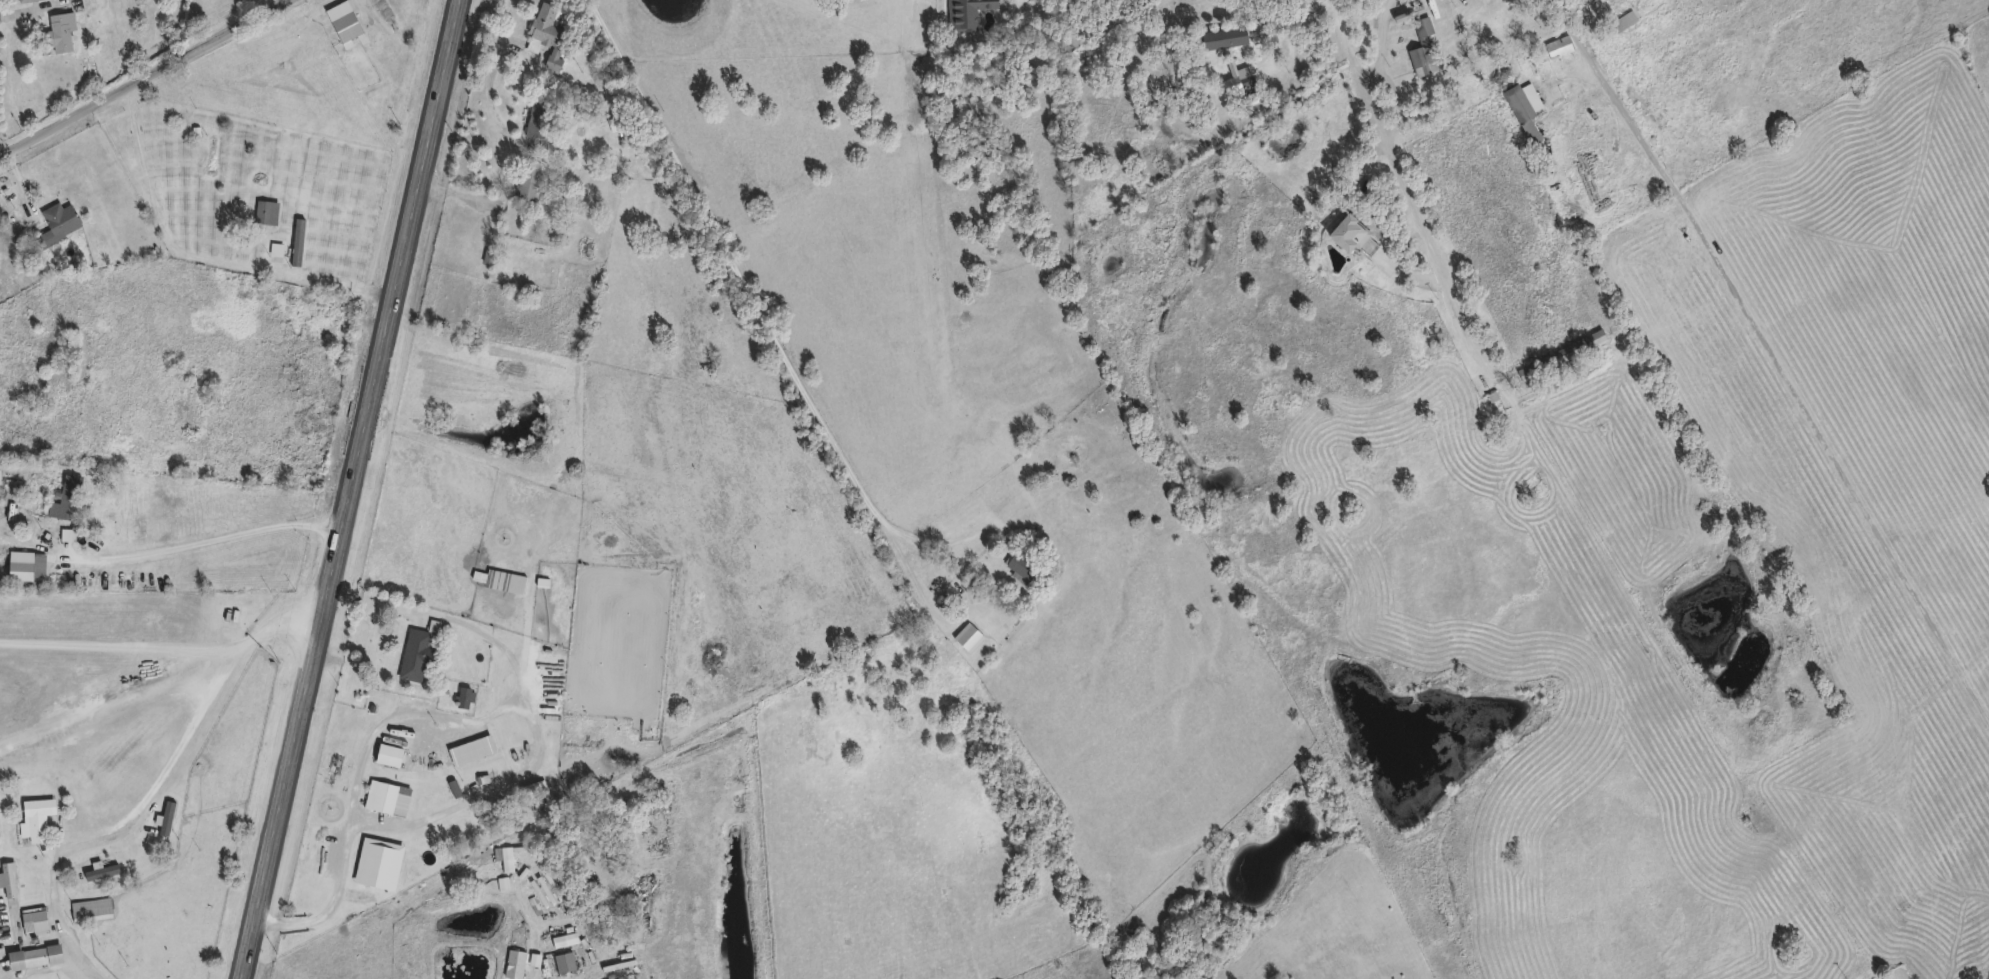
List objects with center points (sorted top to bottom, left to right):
building: (21, 0)
road: (287, 0)
building: (964, 13)
building: (1622, 19)
building: (341, 21)
building: (58, 31)
building: (545, 33)
building: (1221, 37)
road: (1384, 45)
building: (1556, 46)
building: (1419, 47)
road: (495, 65)
road: (145, 79)
building: (1526, 112)
building: (534, 119)
building: (210, 154)
building: (525, 180)
road: (1407, 192)
road: (156, 208)
building: (265, 212)
building: (56, 223)
building: (1345, 234)
building: (297, 241)
road: (758, 313)
building: (1560, 353)
building: (1049, 452)
road: (1834, 460)
road: (353, 489)
building: (66, 496)
road: (175, 546)
building: (16, 565)
building: (1018, 565)
road: (123, 644)
building: (413, 653)
building: (462, 696)
road: (110, 713)
road: (441, 713)
road: (487, 788)
building: (531, 788)
road: (153, 790)
building: (379, 795)
building: (33, 818)
building: (502, 856)
building: (366, 858)
building: (88, 864)
building: (6, 878)
building: (89, 908)
building: (31, 956)
building: (562, 961)
building: (513, 963)

